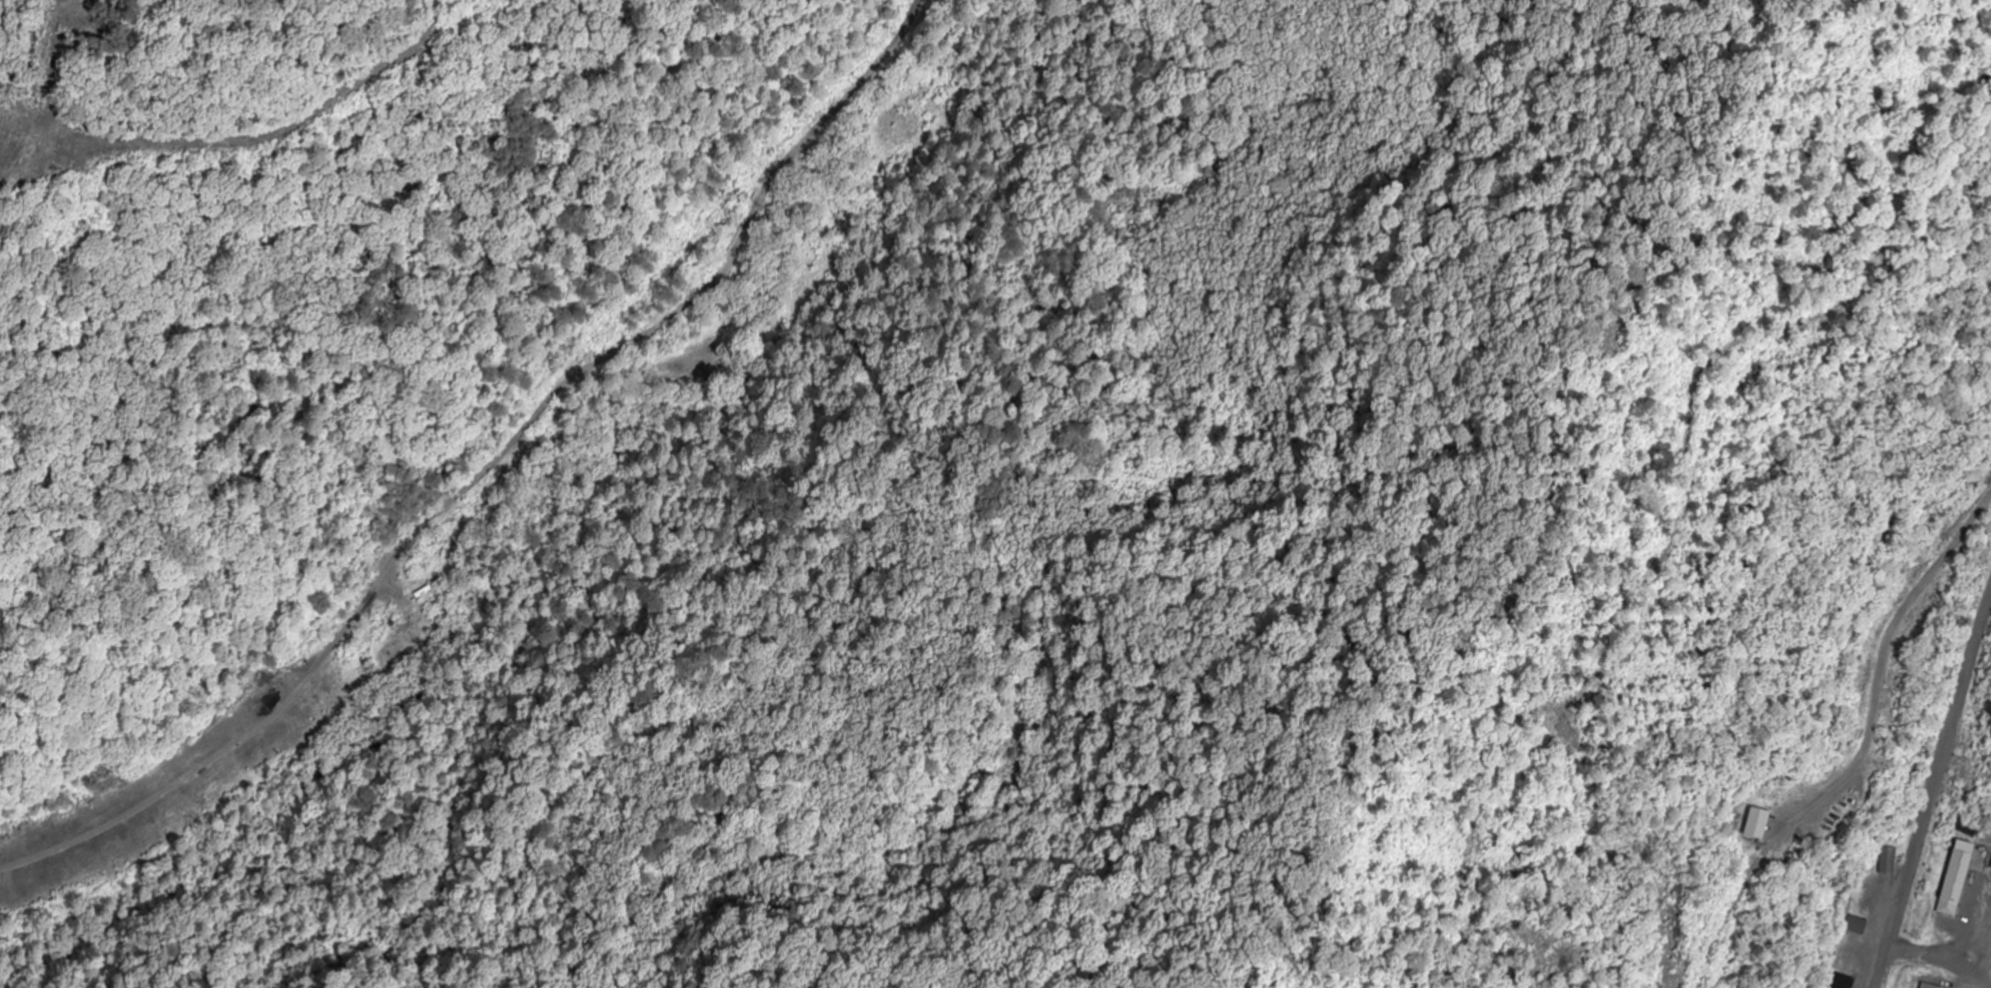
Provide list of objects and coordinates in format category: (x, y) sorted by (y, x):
road: (472, 454)
building: (1890, 861)
building: (1861, 926)

